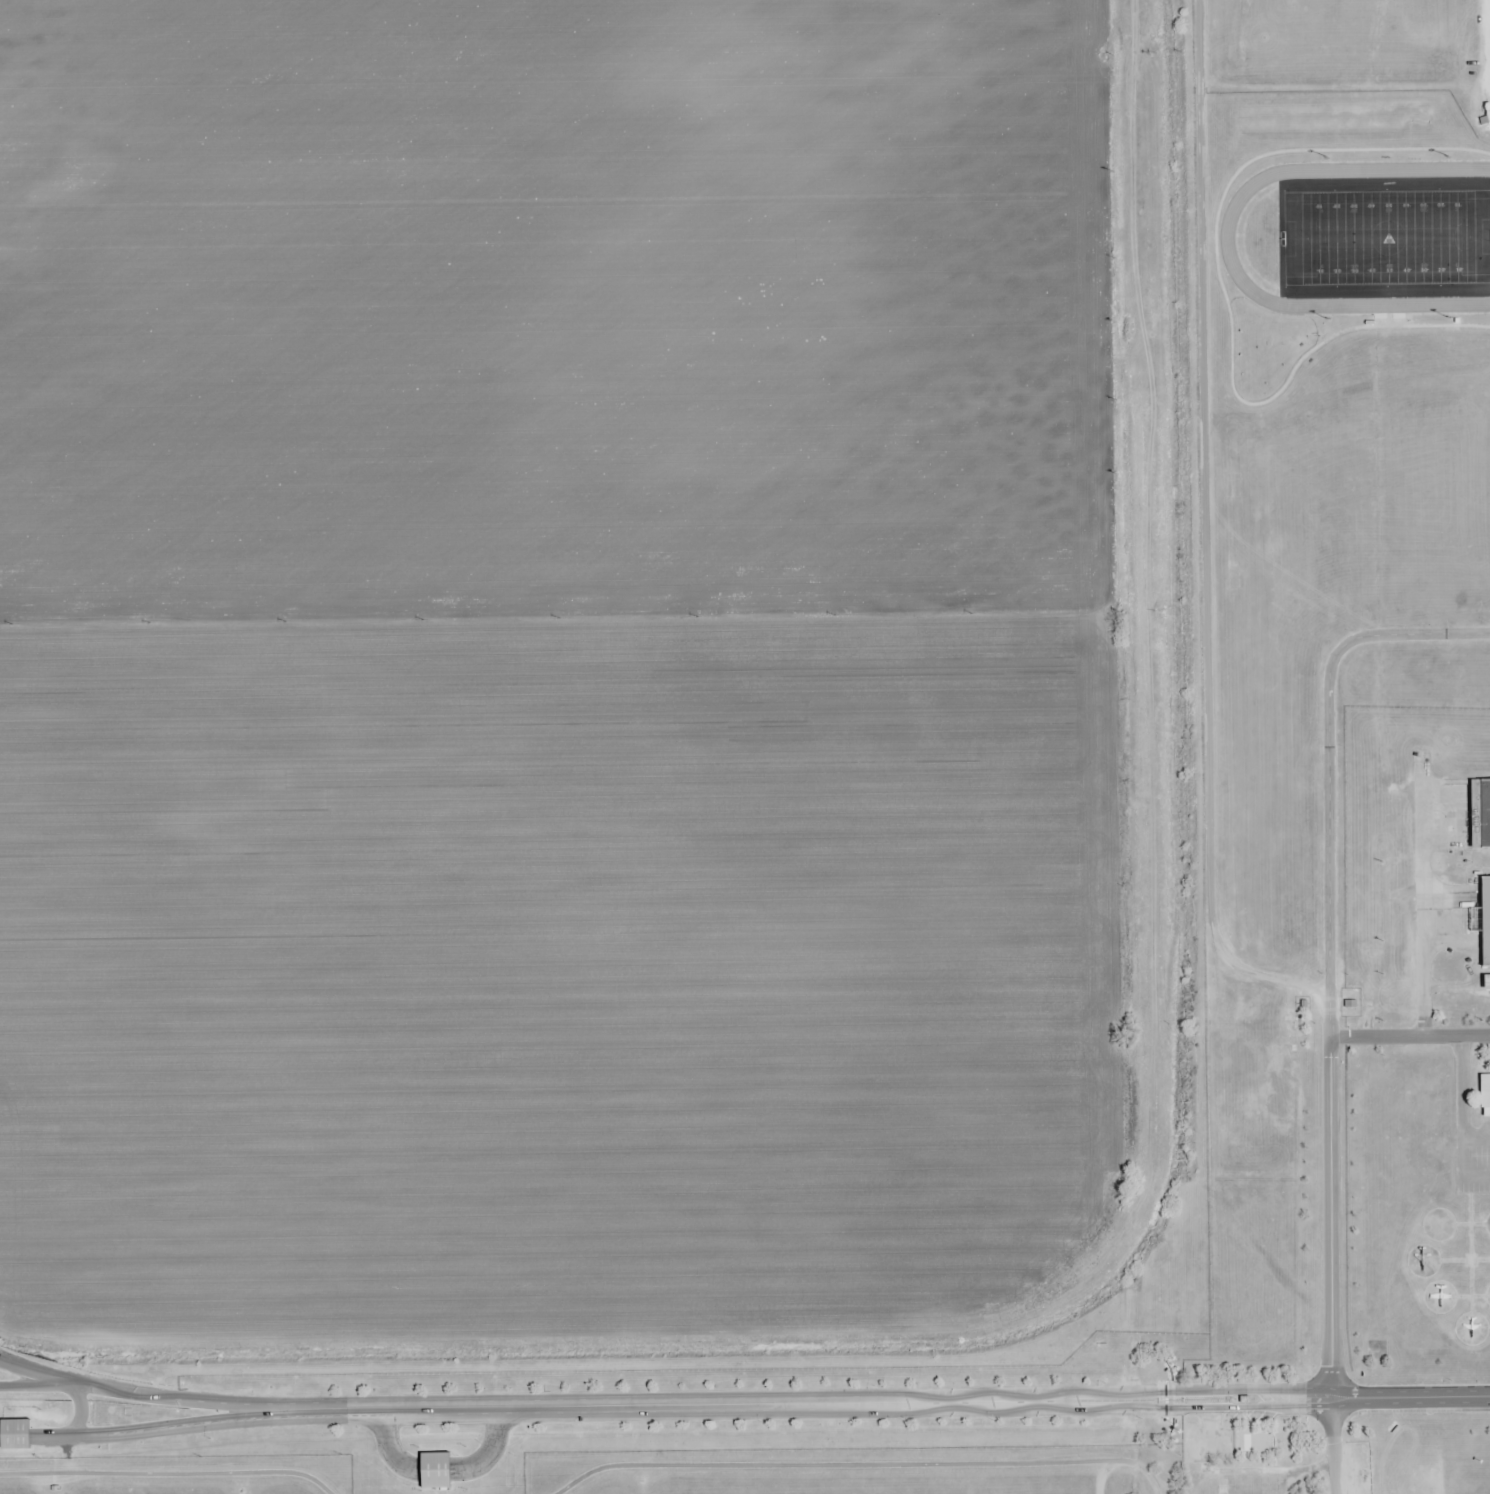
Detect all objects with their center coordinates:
building: (1488, 114)
park: (1386, 236)
building: (1480, 813)
building: (1485, 923)
building: (1485, 1095)
road: (33, 1370)
road: (173, 1392)
road: (1327, 1399)
road: (756, 1404)
road: (80, 1408)
road: (174, 1425)
building: (23, 1433)
building: (429, 1469)

